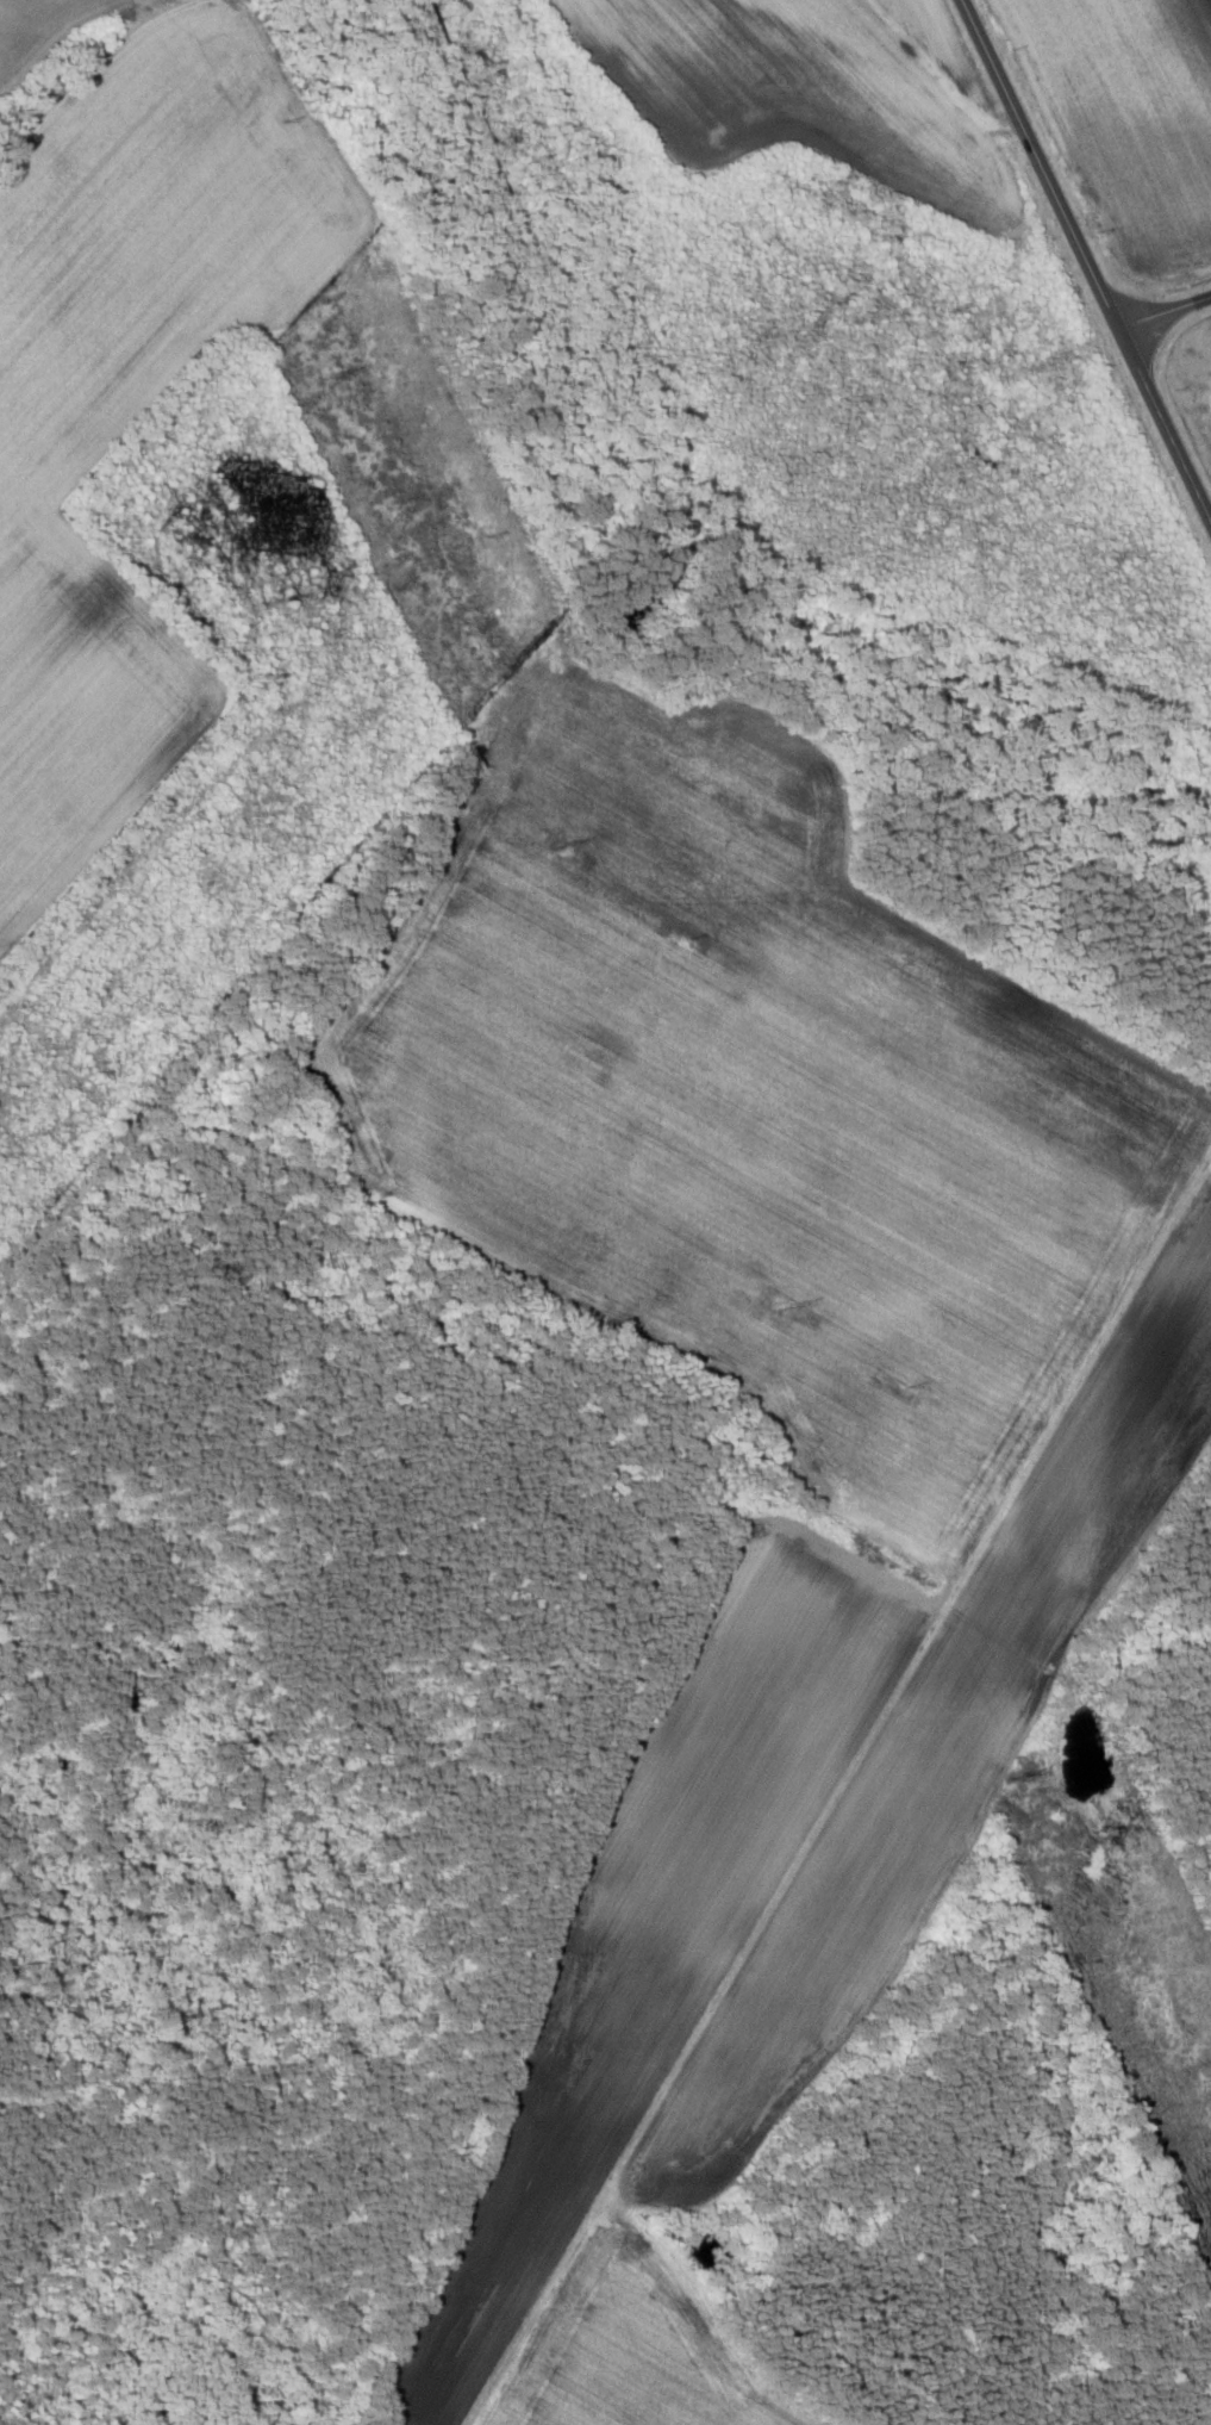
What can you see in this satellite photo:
road: (1086, 260)
road: (1165, 312)
power tower: (332, 374)
power tower: (563, 842)
power tower: (789, 1306)
power tower: (1020, 1774)
road: (864, 1839)

